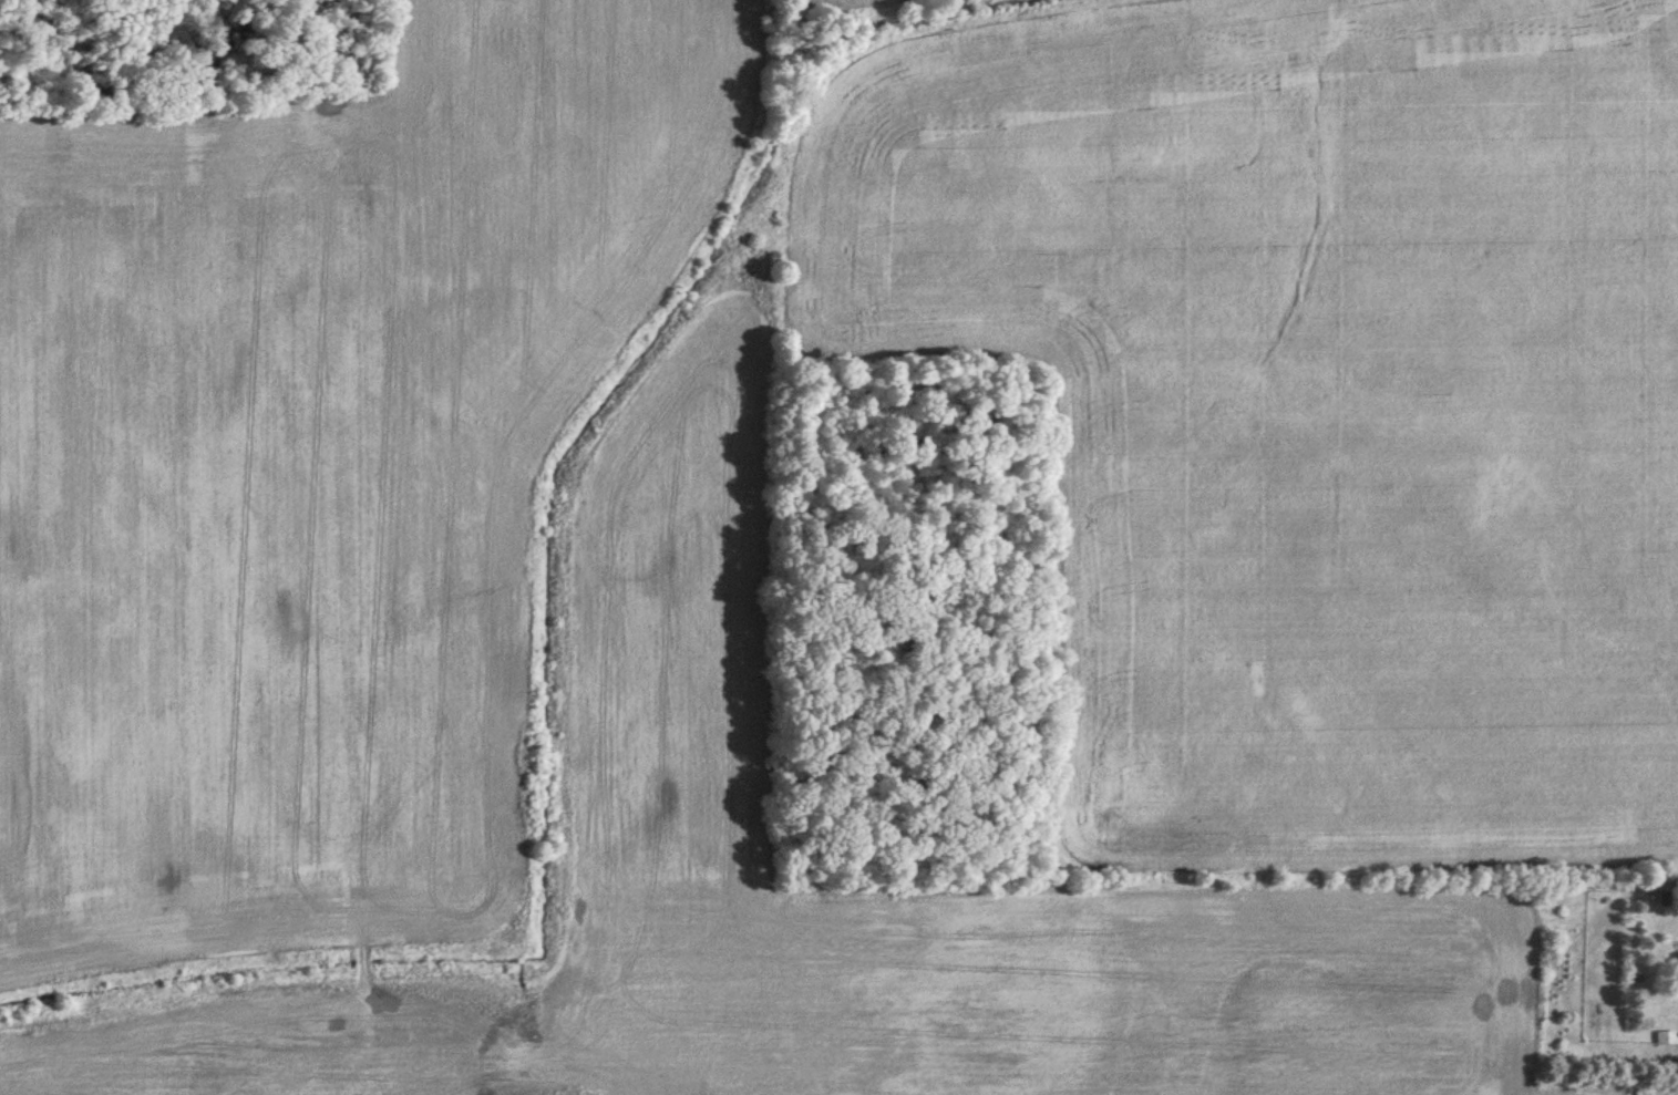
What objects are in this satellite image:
building: (1677, 960)

